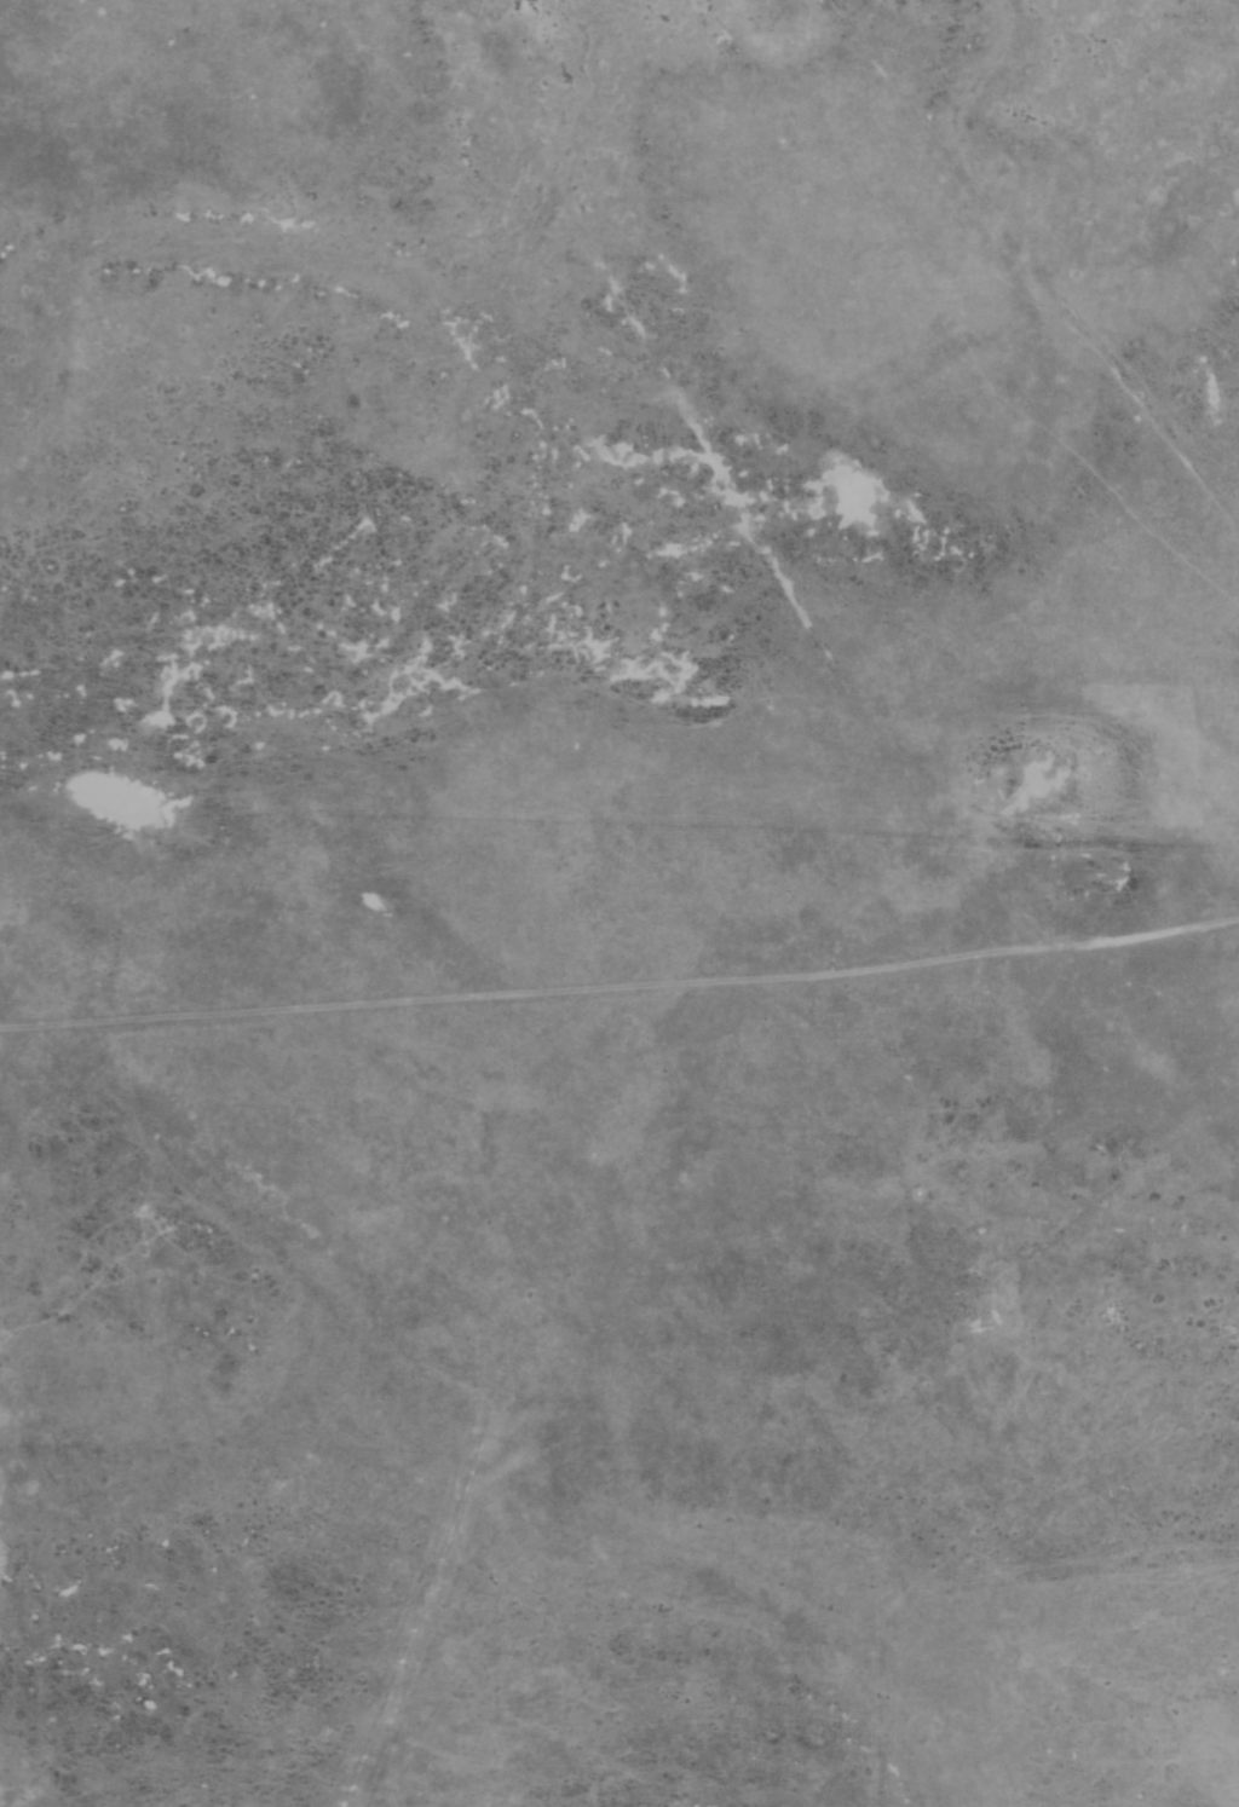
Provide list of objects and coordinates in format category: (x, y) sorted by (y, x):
road: (719, 663)

